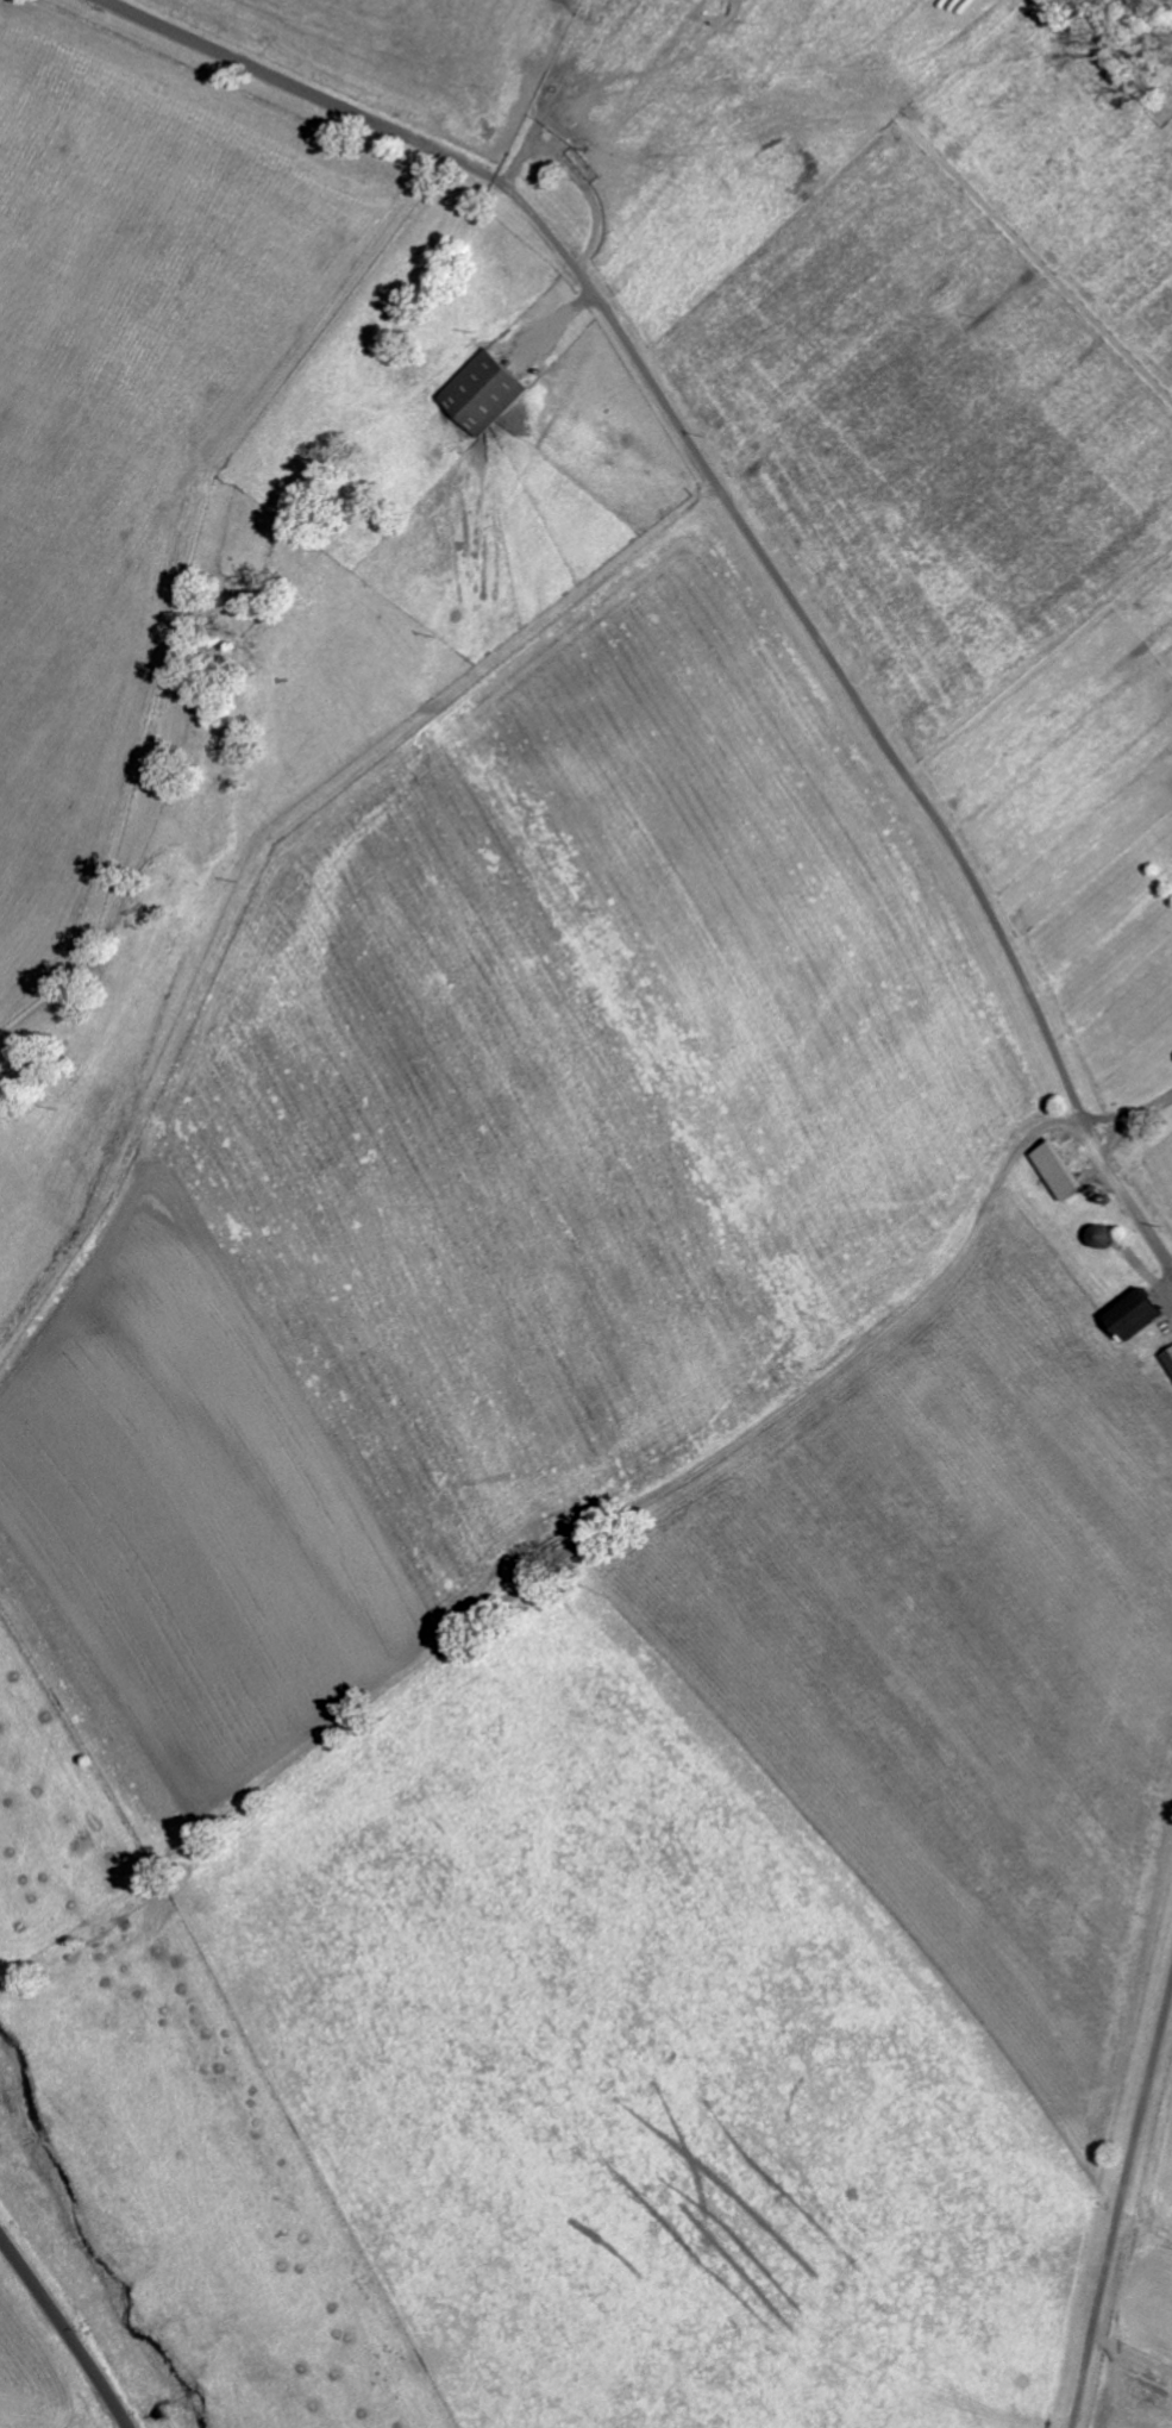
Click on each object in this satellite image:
building: (487, 394)
road: (745, 530)
road: (1132, 1115)
building: (1063, 1169)
building: (1137, 1314)
building: (1170, 1356)
road: (1121, 2208)
road: (68, 2326)

